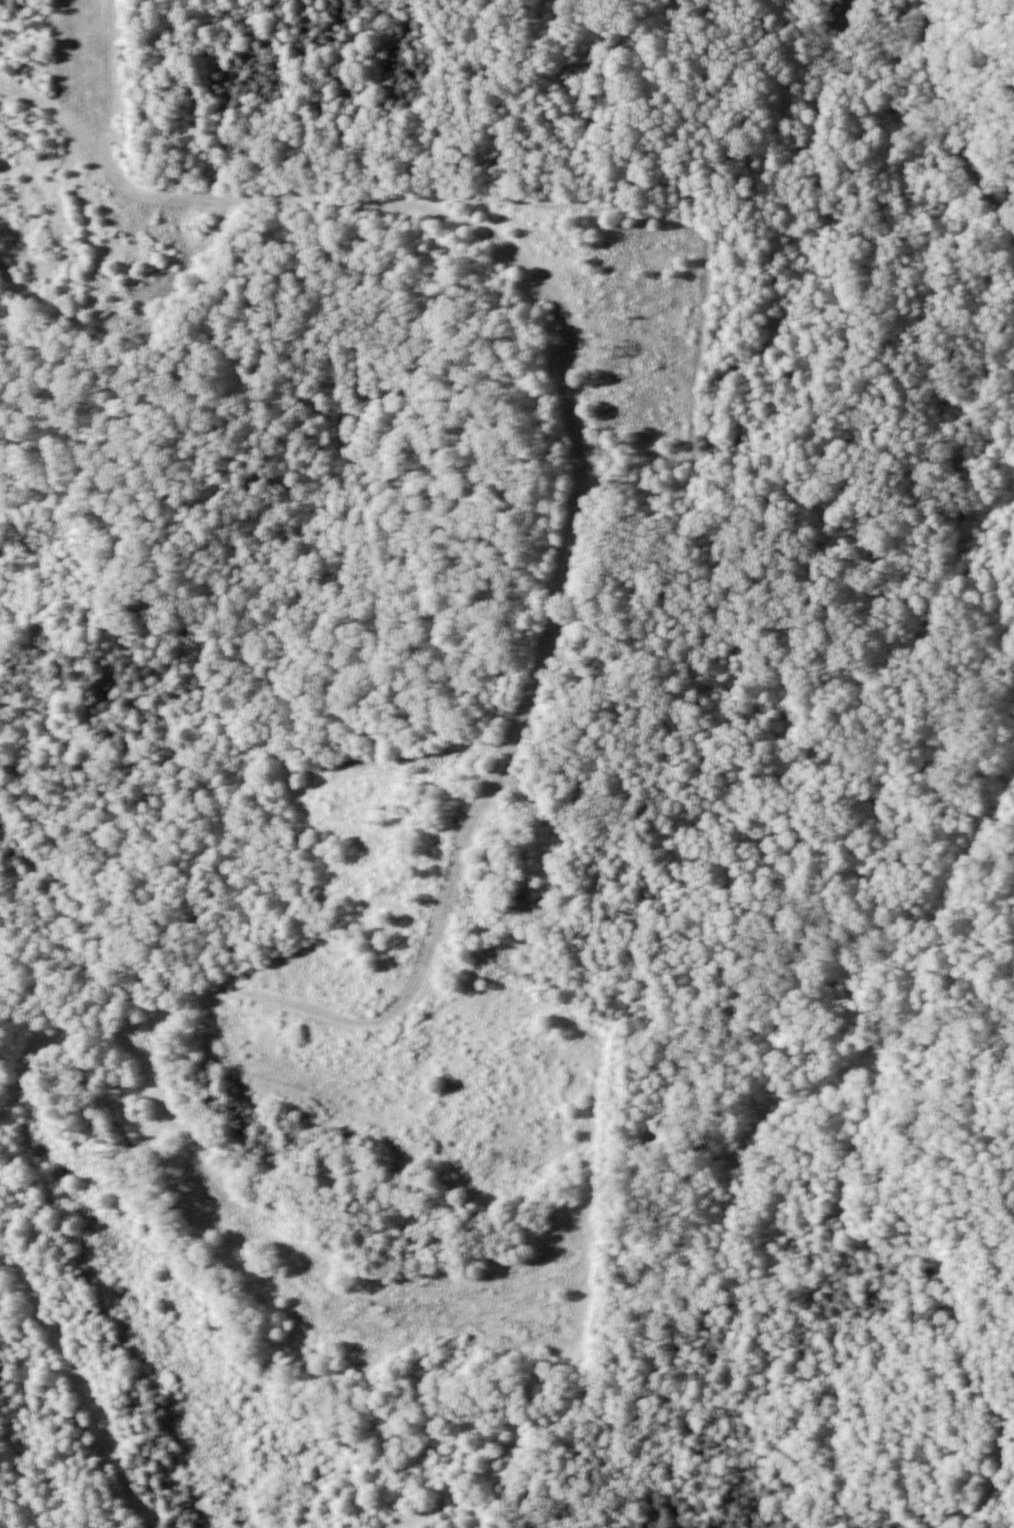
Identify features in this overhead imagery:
road: (917, 0)
building: (848, 15)
road: (950, 123)

